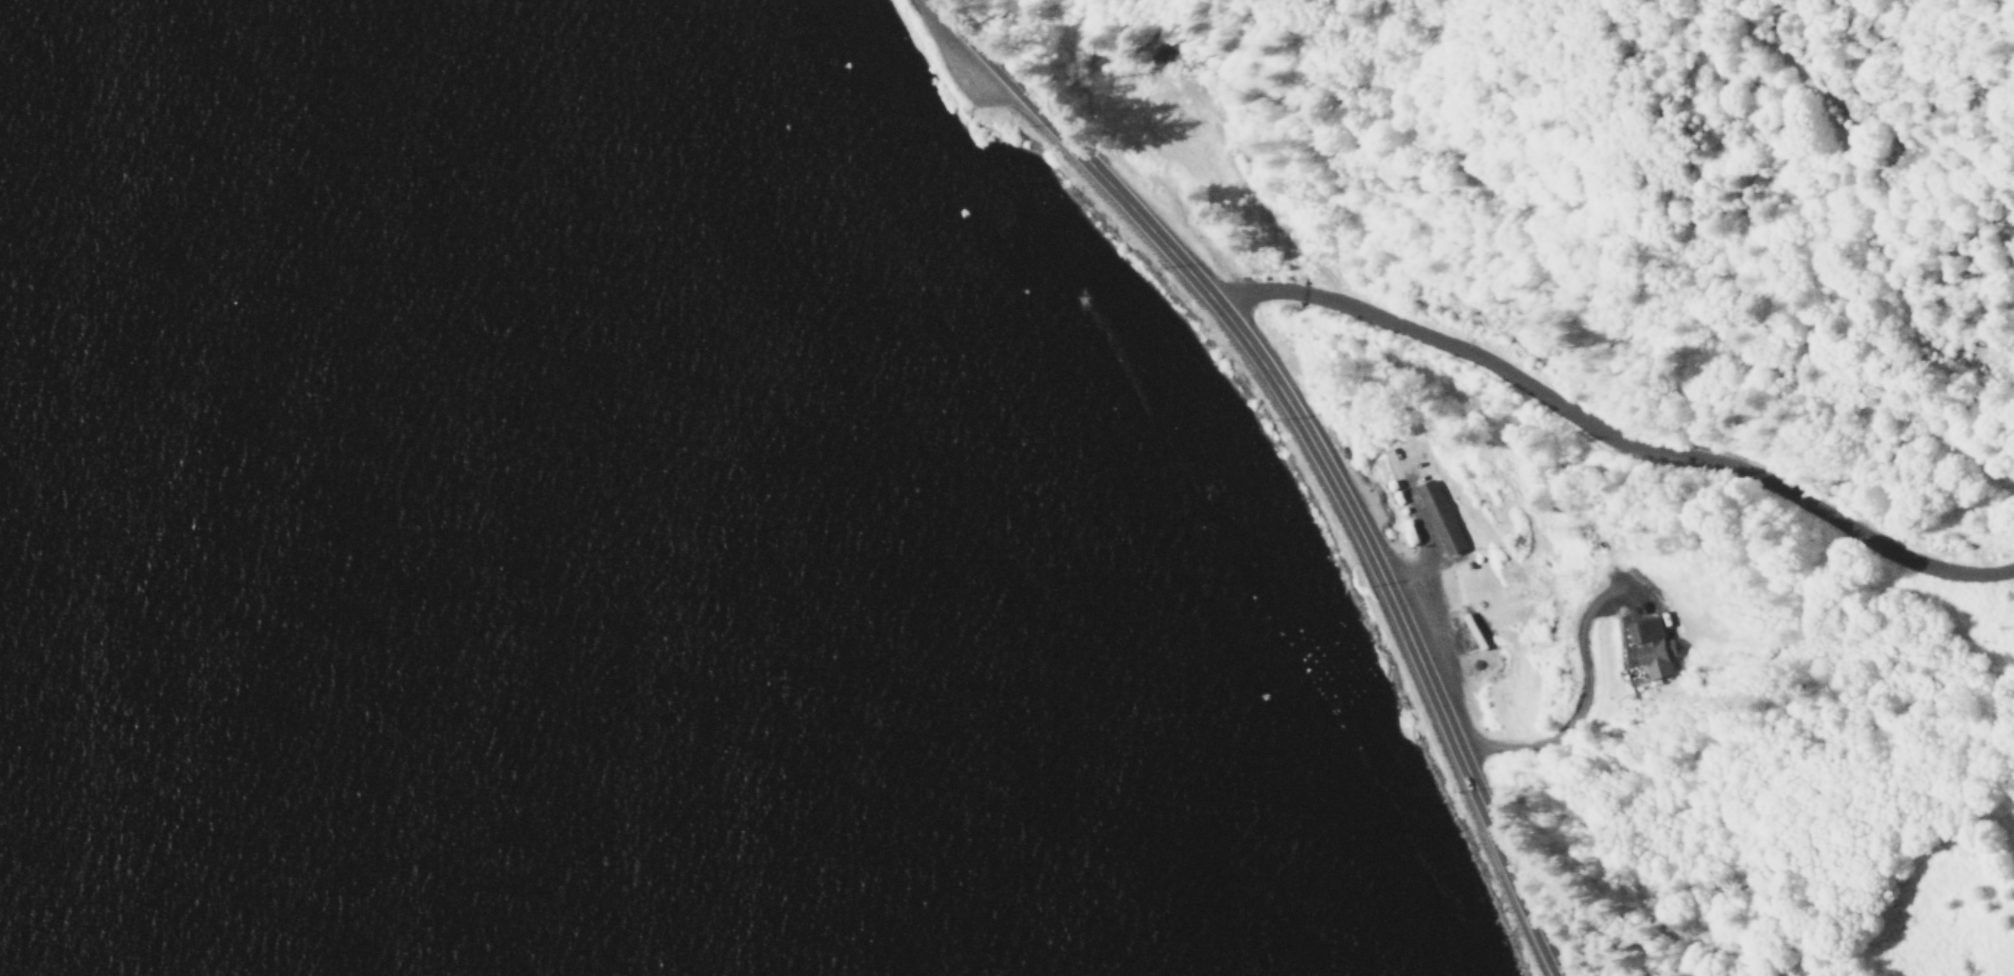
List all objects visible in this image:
parking lot: (973, 82)
road: (1610, 442)
road: (1309, 446)
building: (1439, 518)
building: (1651, 647)
building: (1477, 660)
road: (1577, 713)
river: (192, 773)

